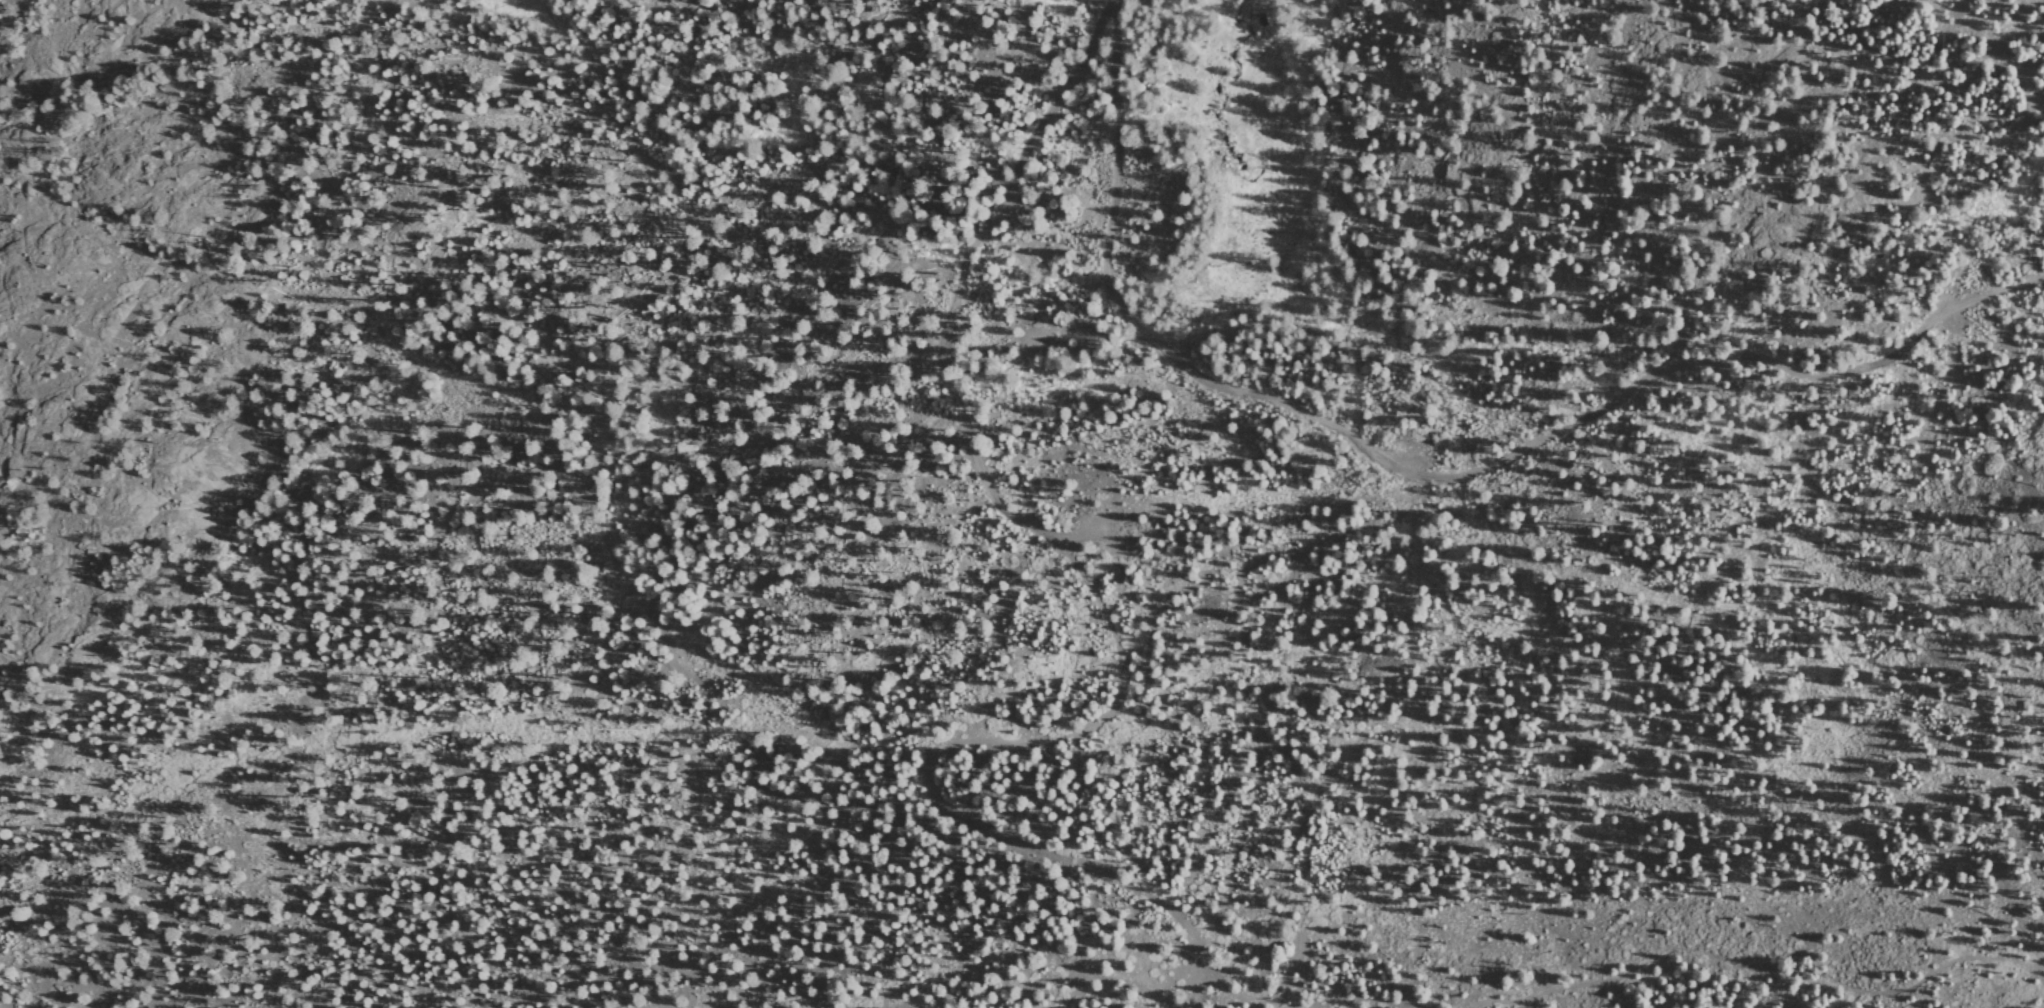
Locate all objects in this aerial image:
road: (1462, 428)
road: (1047, 588)

